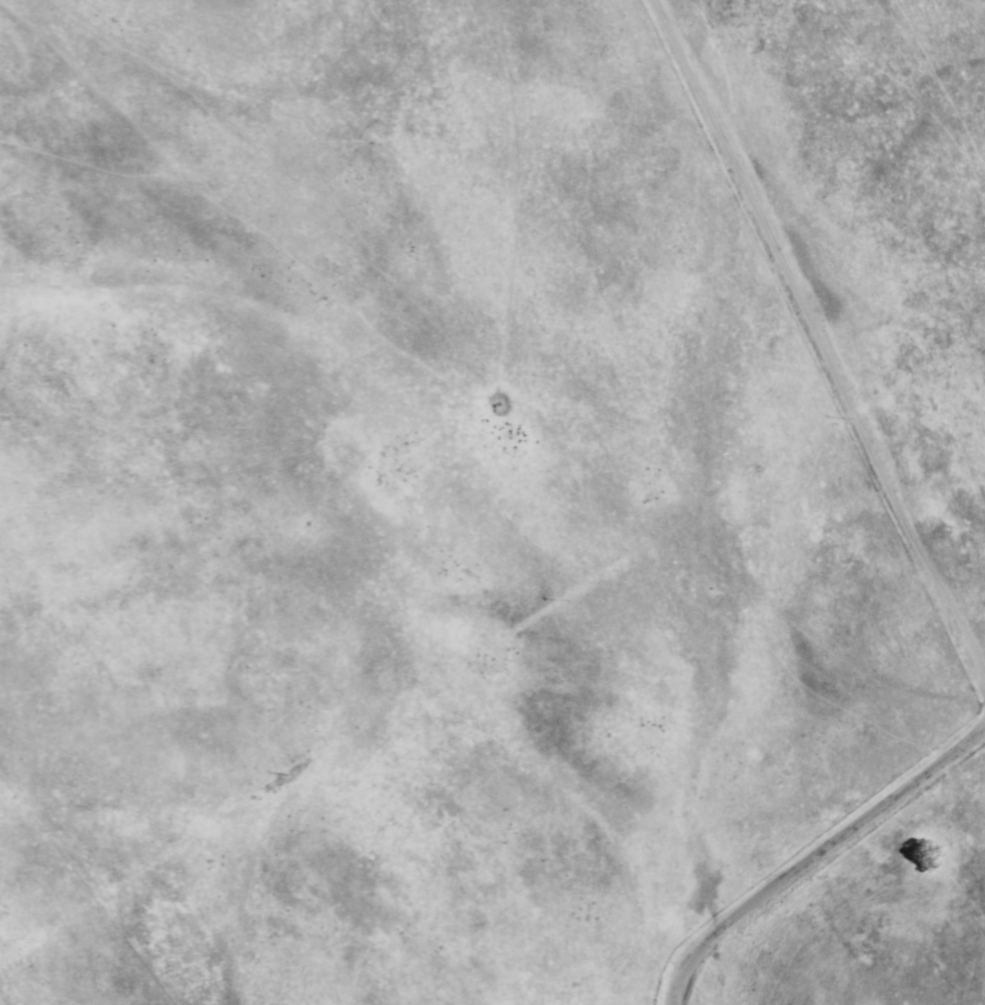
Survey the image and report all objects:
road: (819, 344)
road: (741, 580)
road: (812, 854)

